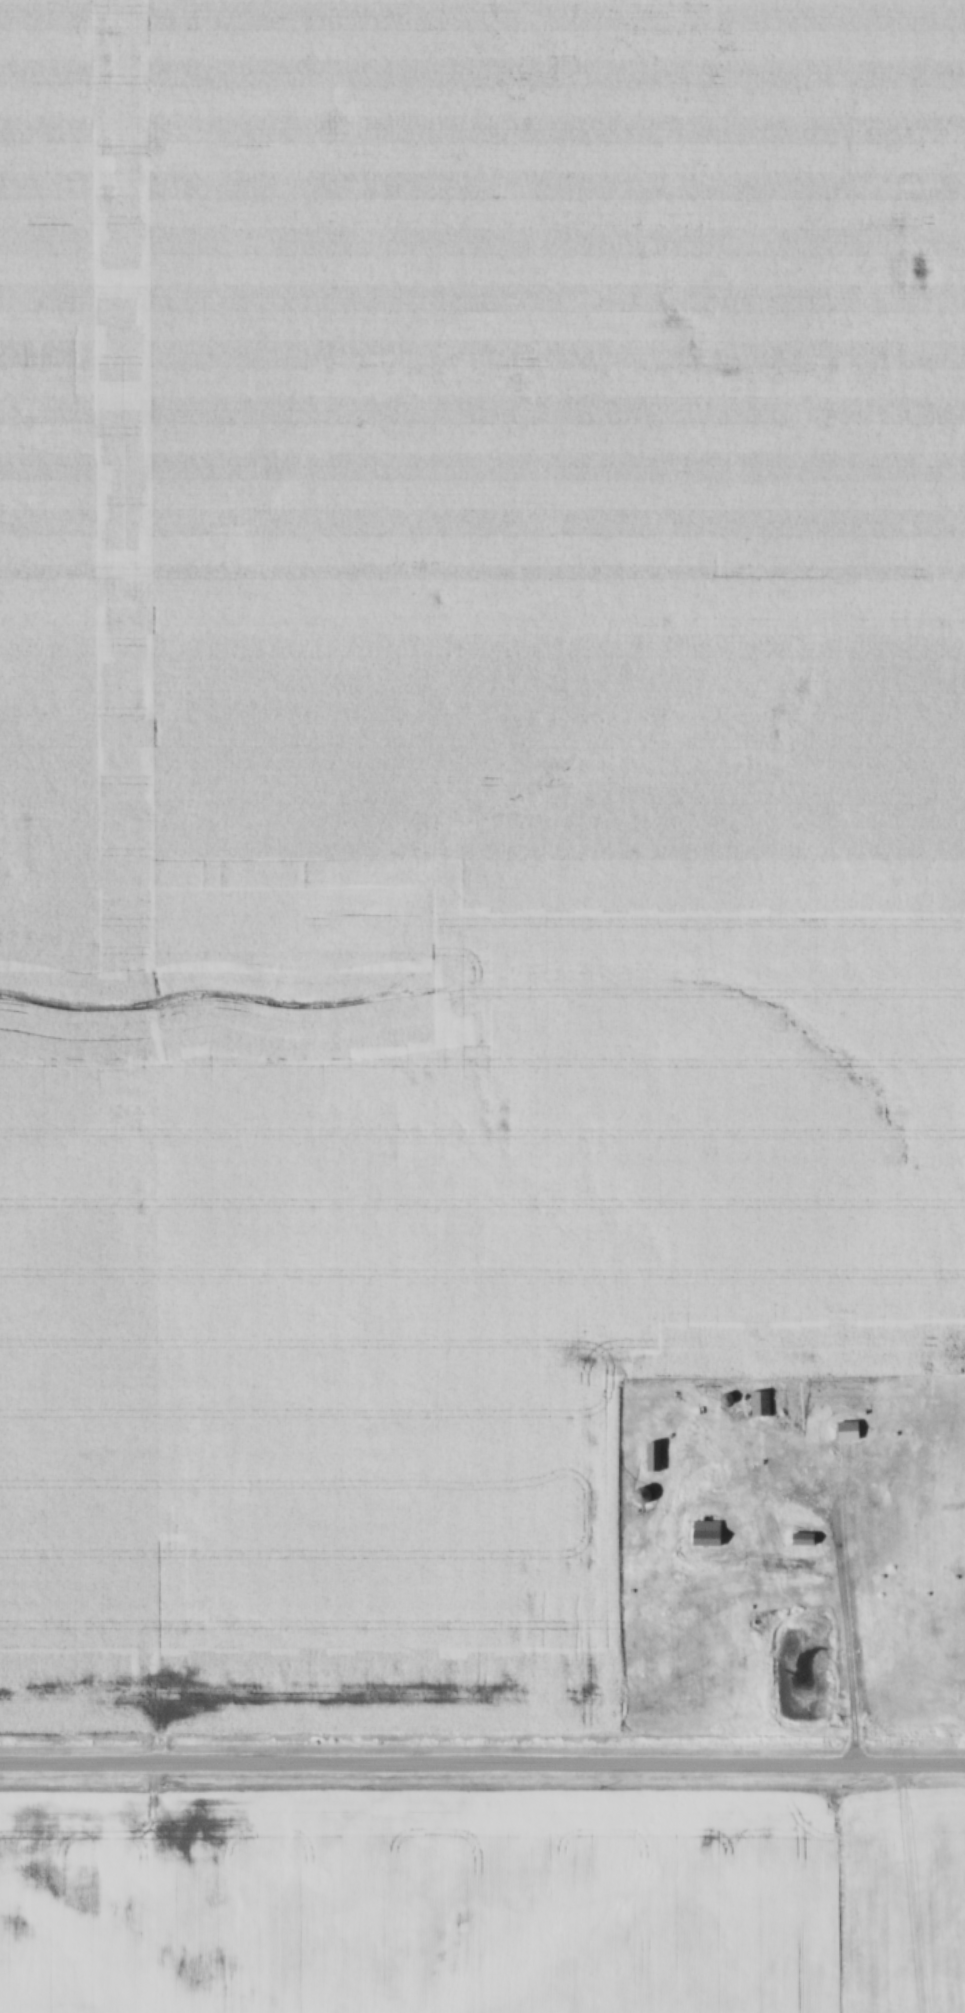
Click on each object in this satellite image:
building: (760, 1405)
building: (847, 1432)
building: (653, 1458)
building: (641, 1496)
building: (706, 1534)
building: (802, 1540)
road: (848, 1609)
road: (482, 1766)

